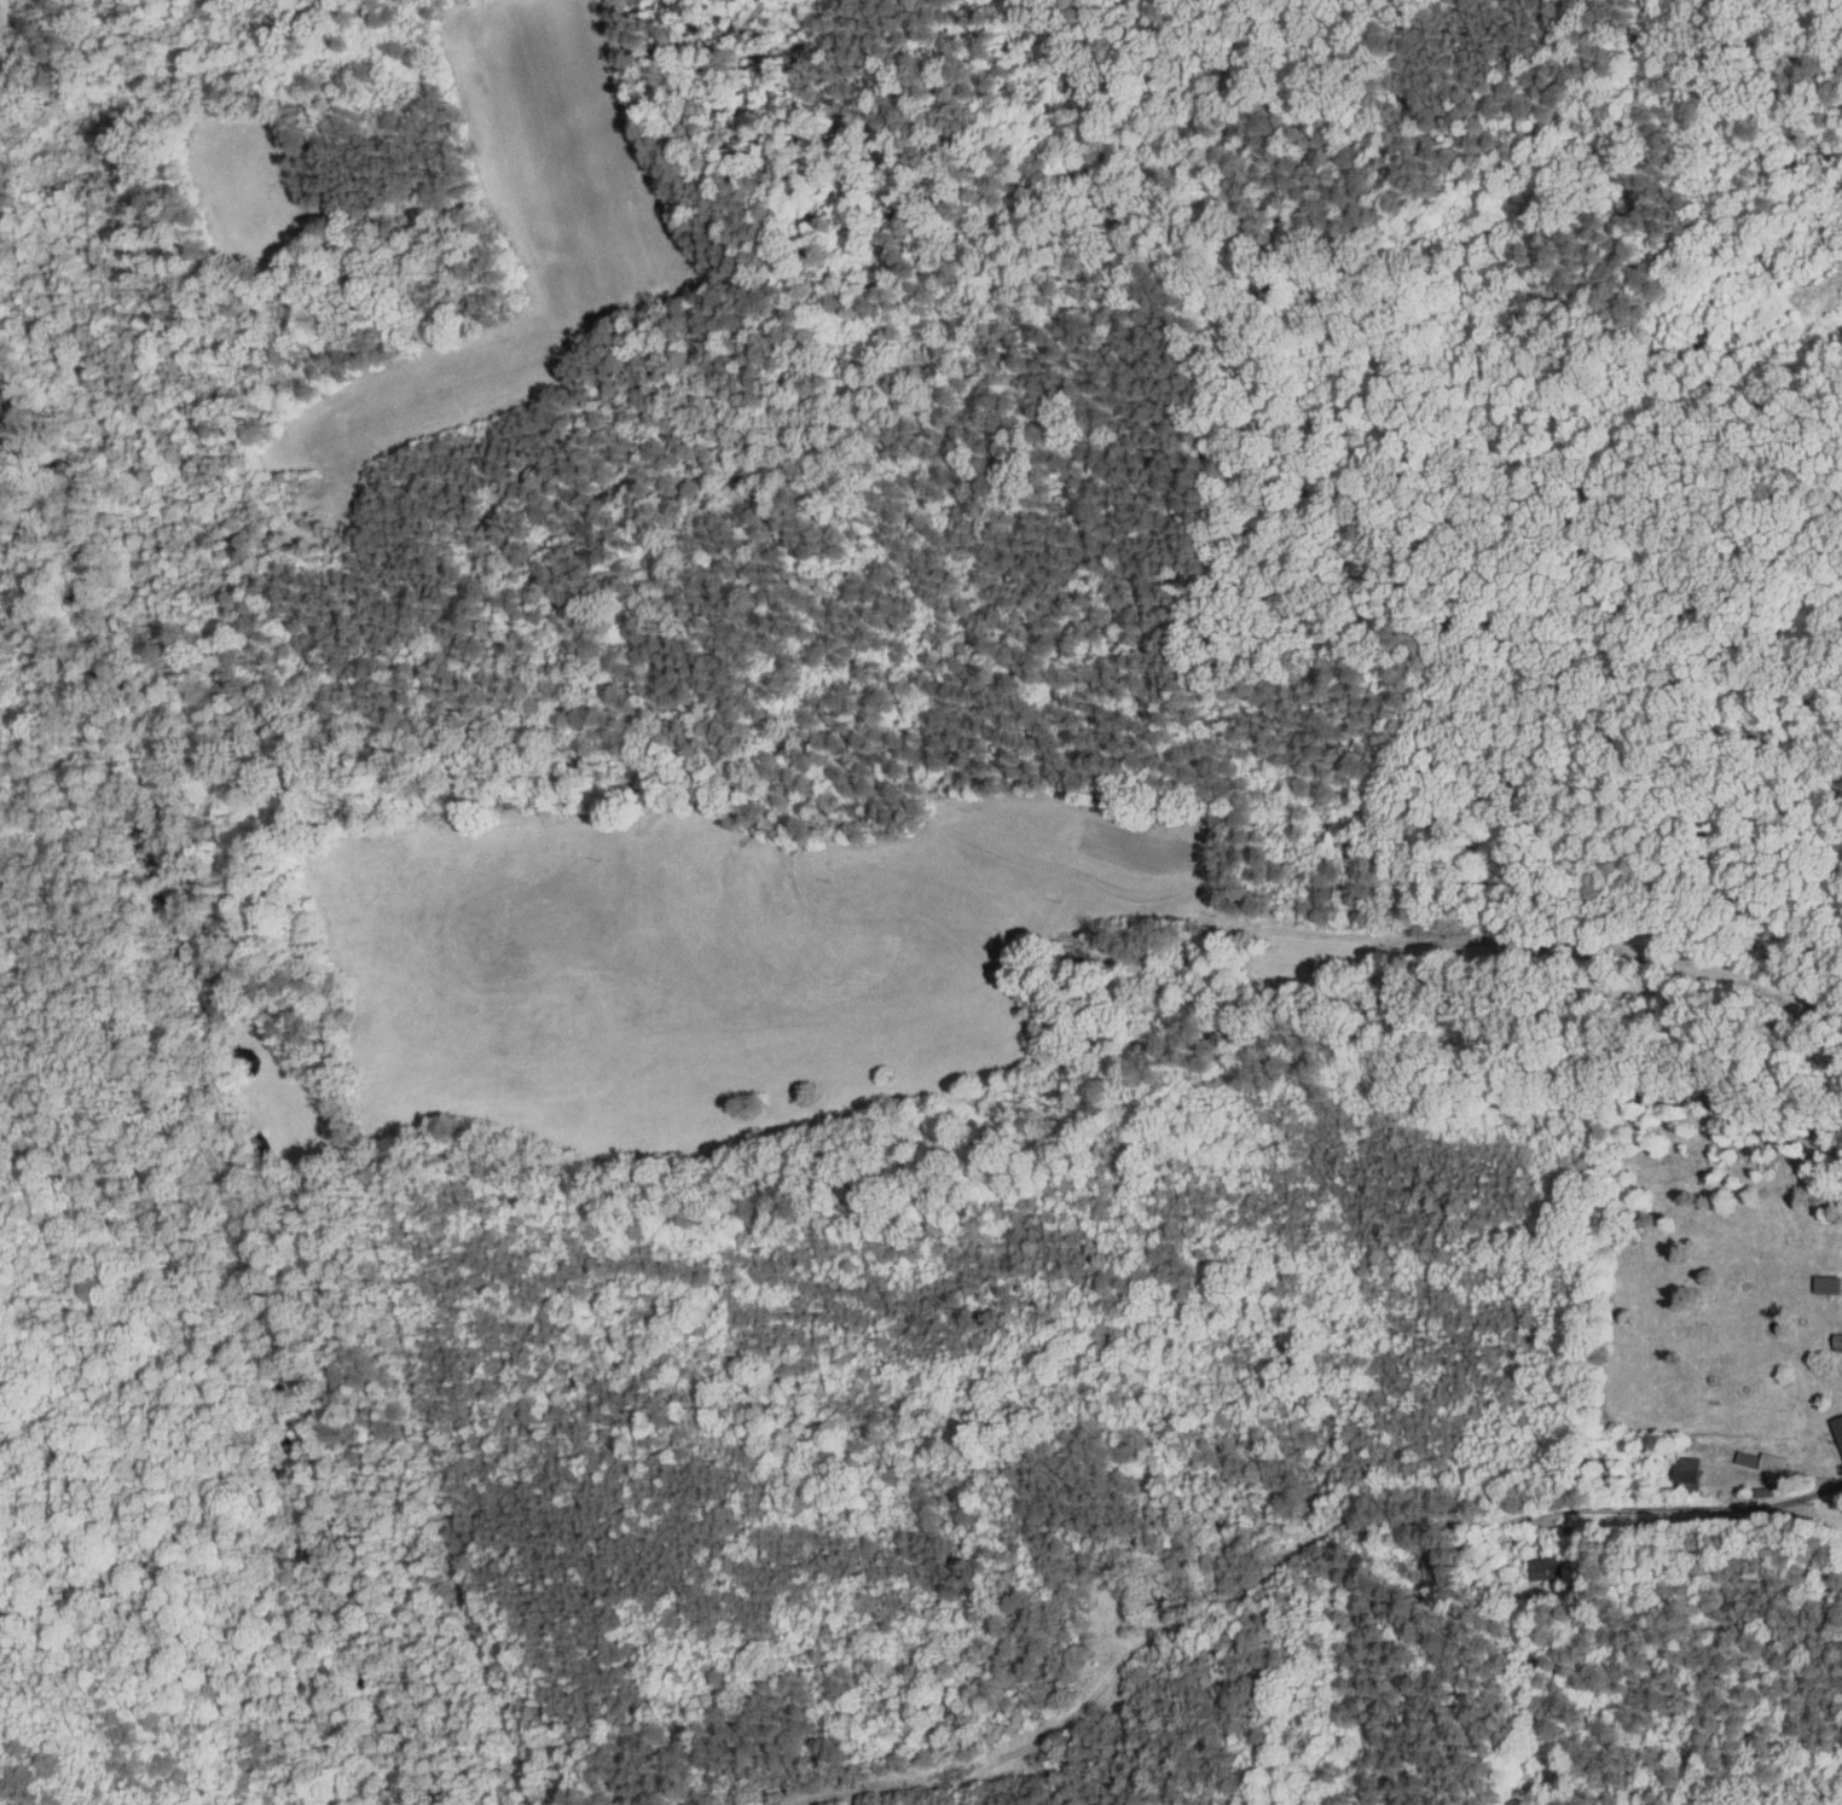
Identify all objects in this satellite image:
building: (1808, 1276)
building: (1838, 1341)
building: (1829, 1429)
building: (1745, 1453)
road: (1658, 1507)
building: (1530, 1561)

